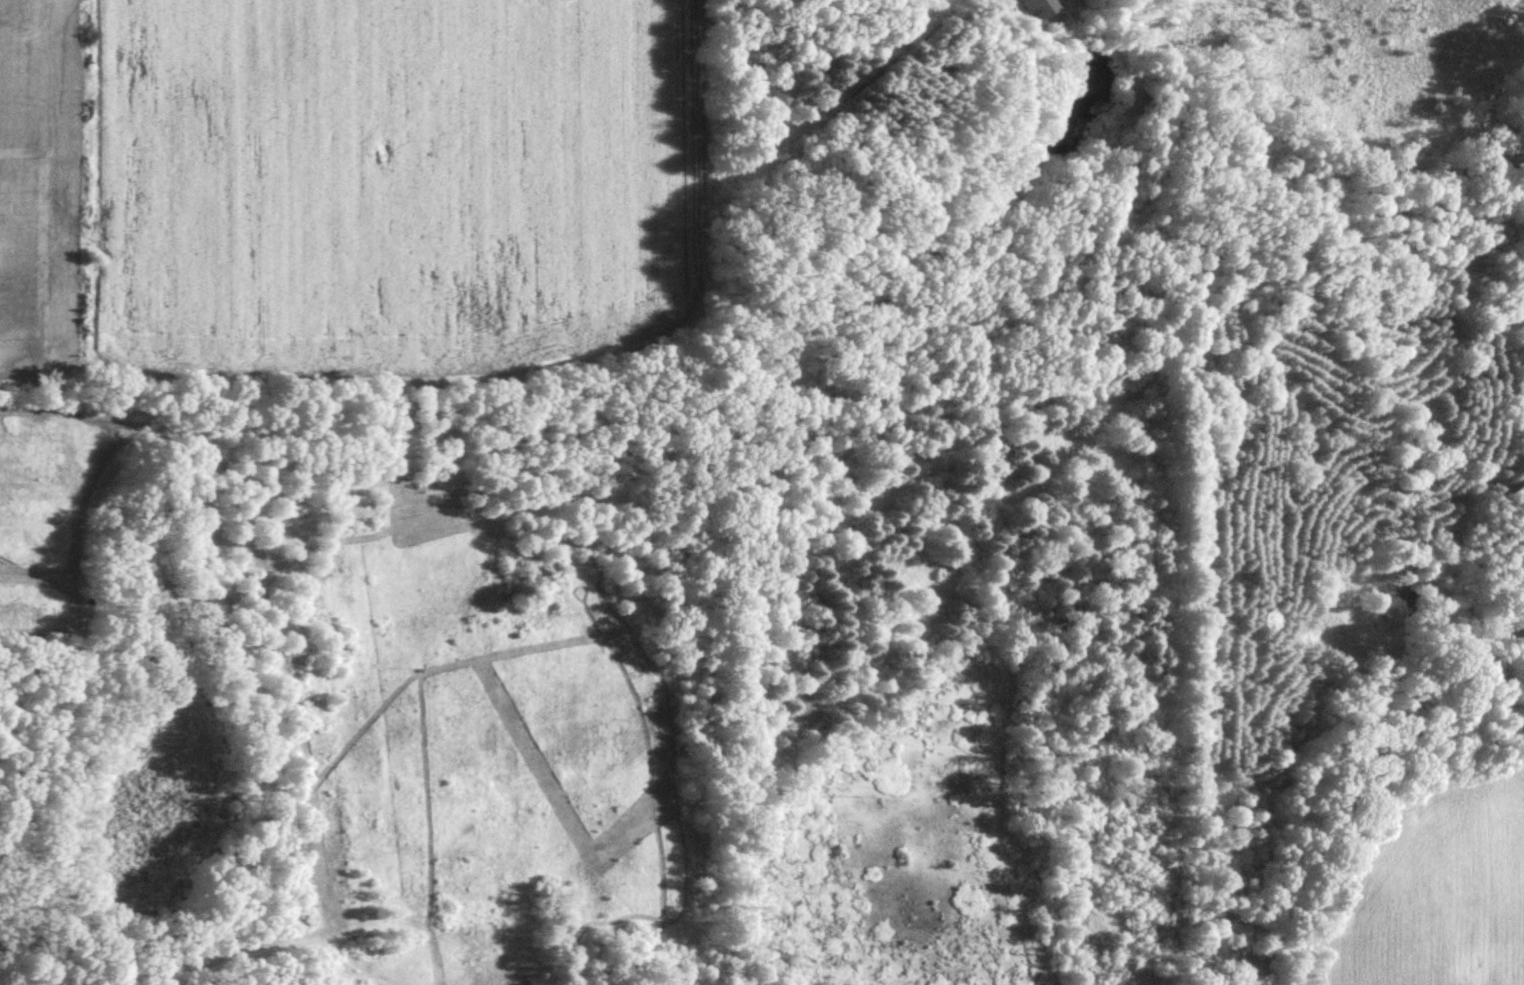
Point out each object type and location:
building: (1039, 8)

